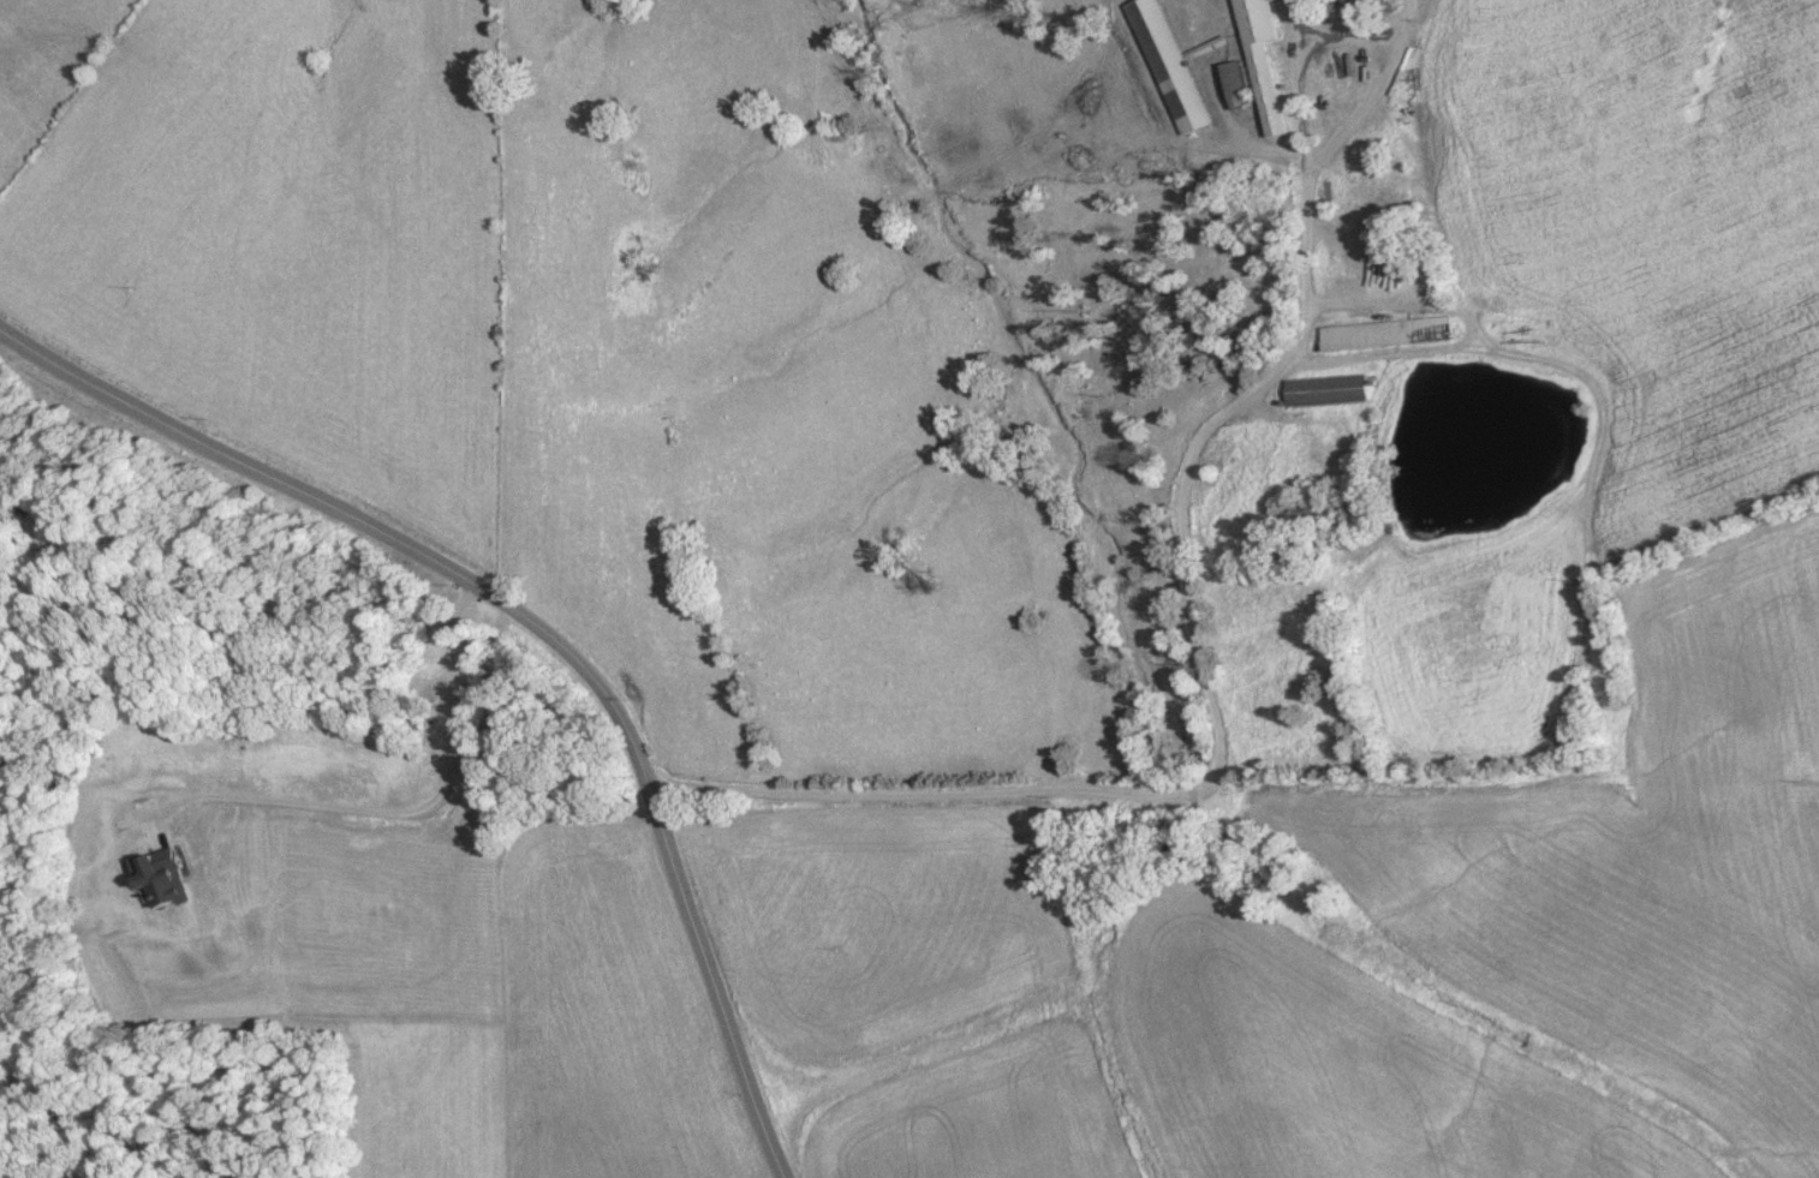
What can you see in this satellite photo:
building: (1266, 60)
building: (1171, 65)
building: (1240, 83)
road: (1295, 83)
road: (1367, 88)
road: (1175, 125)
building: (1390, 333)
building: (1331, 389)
road: (538, 623)
road: (1217, 728)
road: (413, 811)

